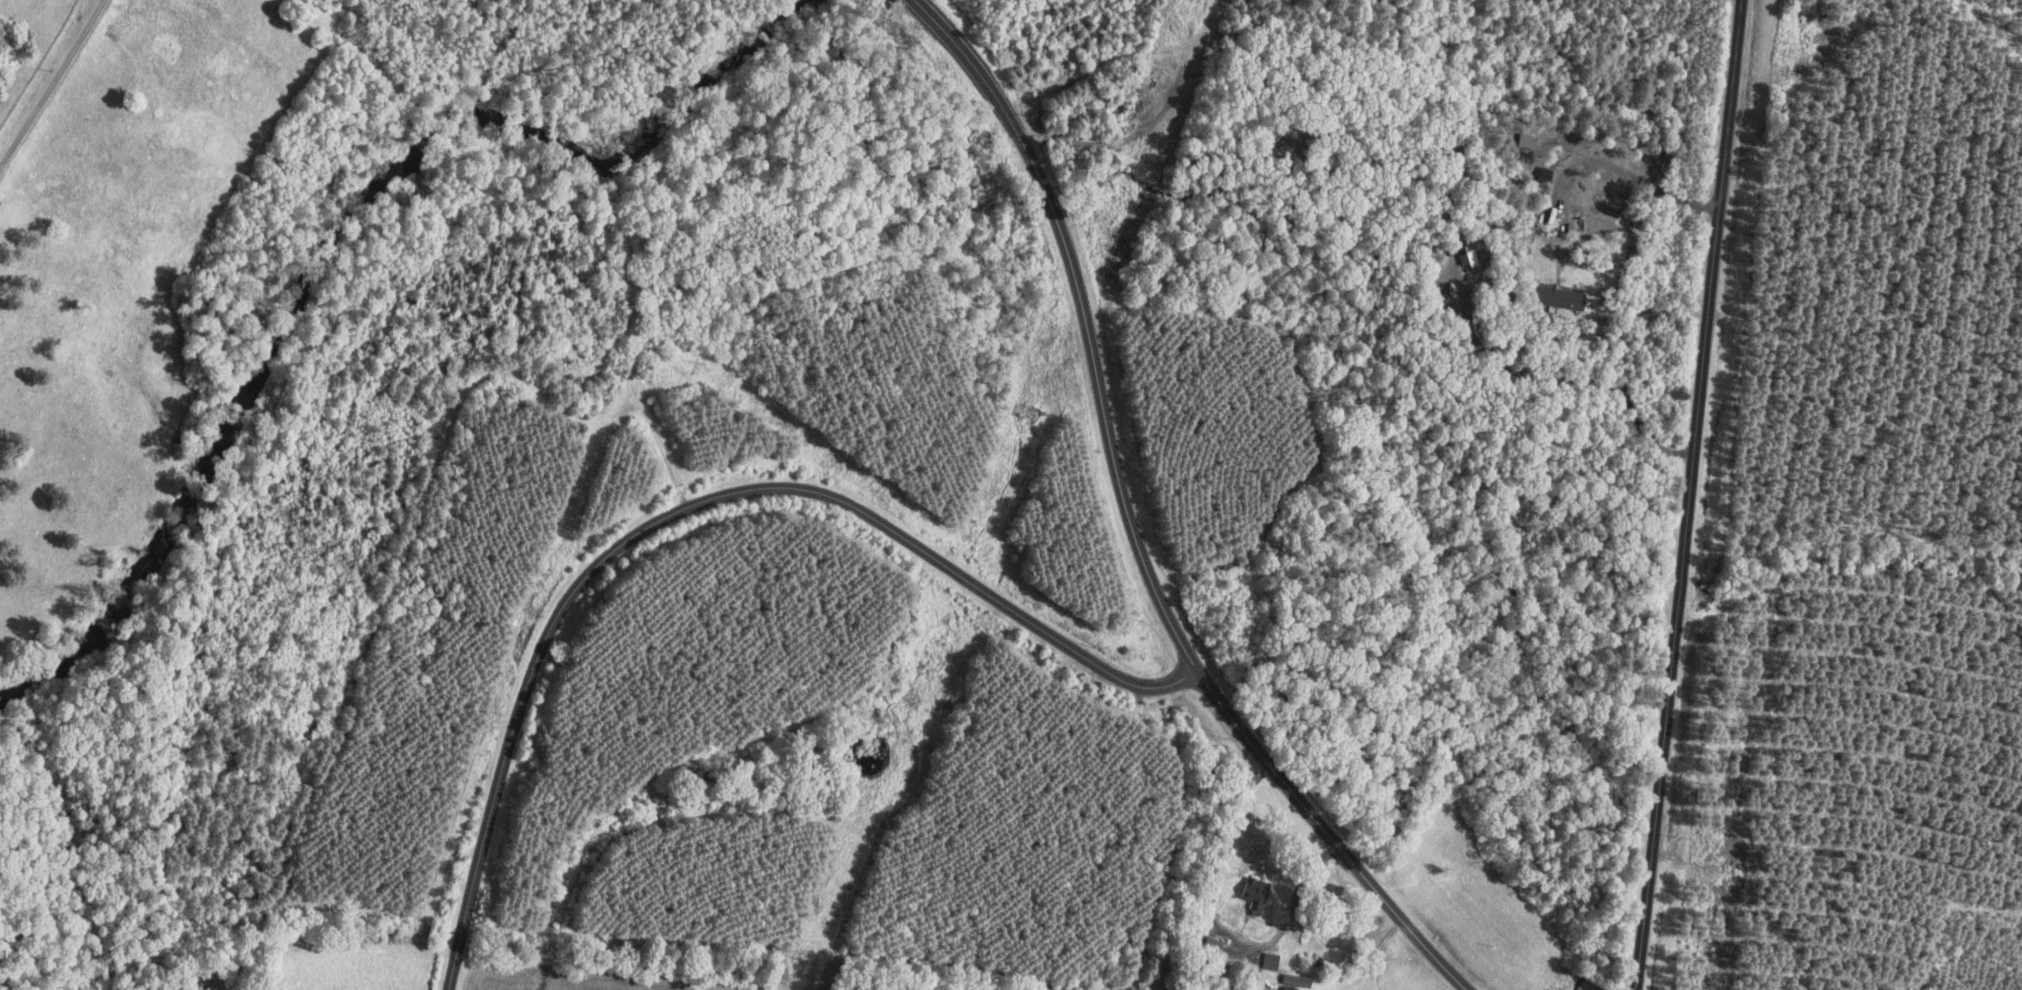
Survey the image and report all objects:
road: (52, 83)
building: (1559, 299)
power tower: (1032, 415)
road: (1688, 495)
road: (690, 506)
road: (1131, 526)
building: (1256, 891)
road: (1219, 925)
power tower: (812, 958)
building: (1298, 980)

